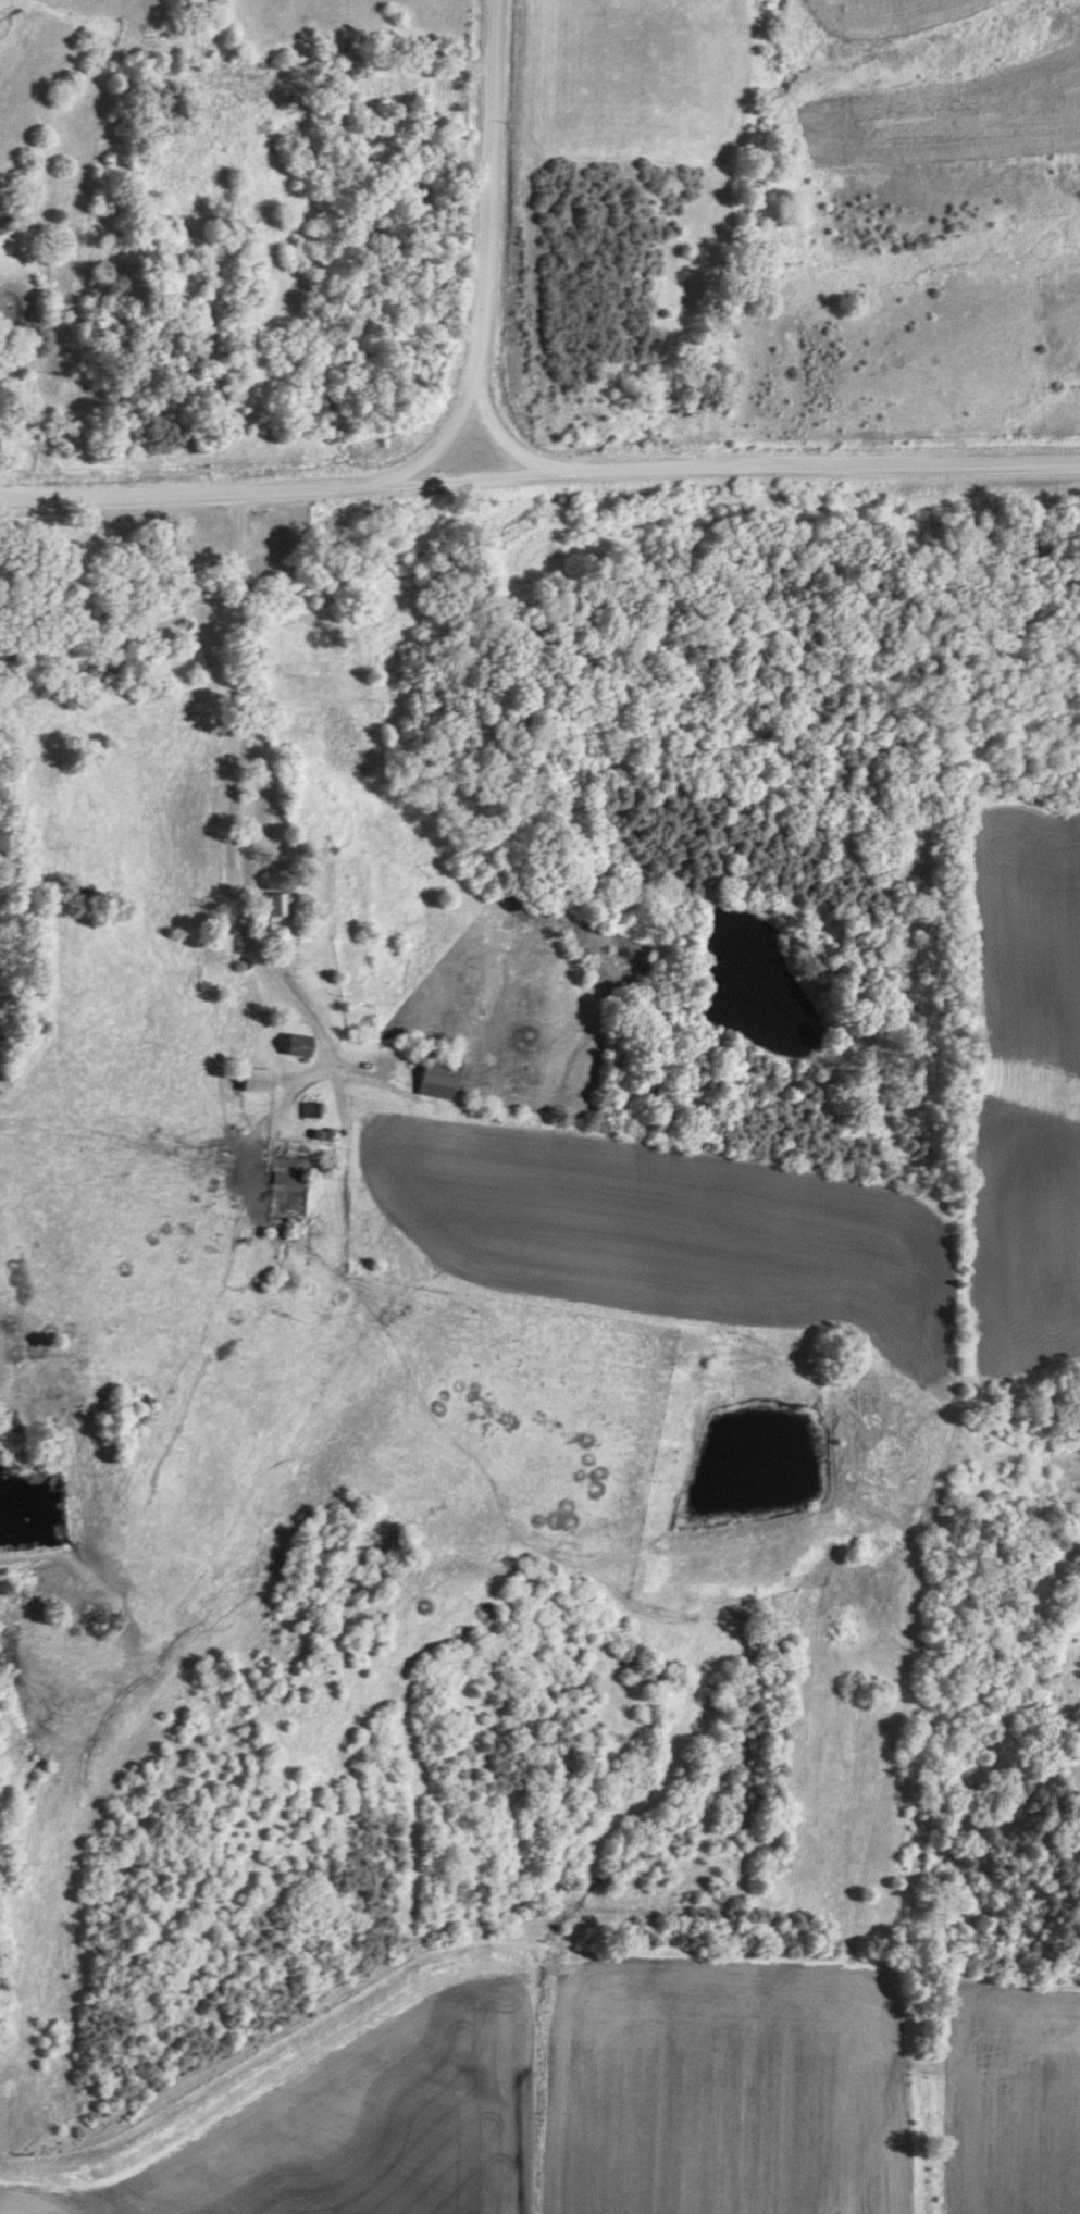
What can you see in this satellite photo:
road: (485, 254)
road: (498, 428)
road: (538, 470)
road: (228, 885)
building: (275, 905)
building: (289, 1044)
building: (251, 1079)
building: (431, 1079)

